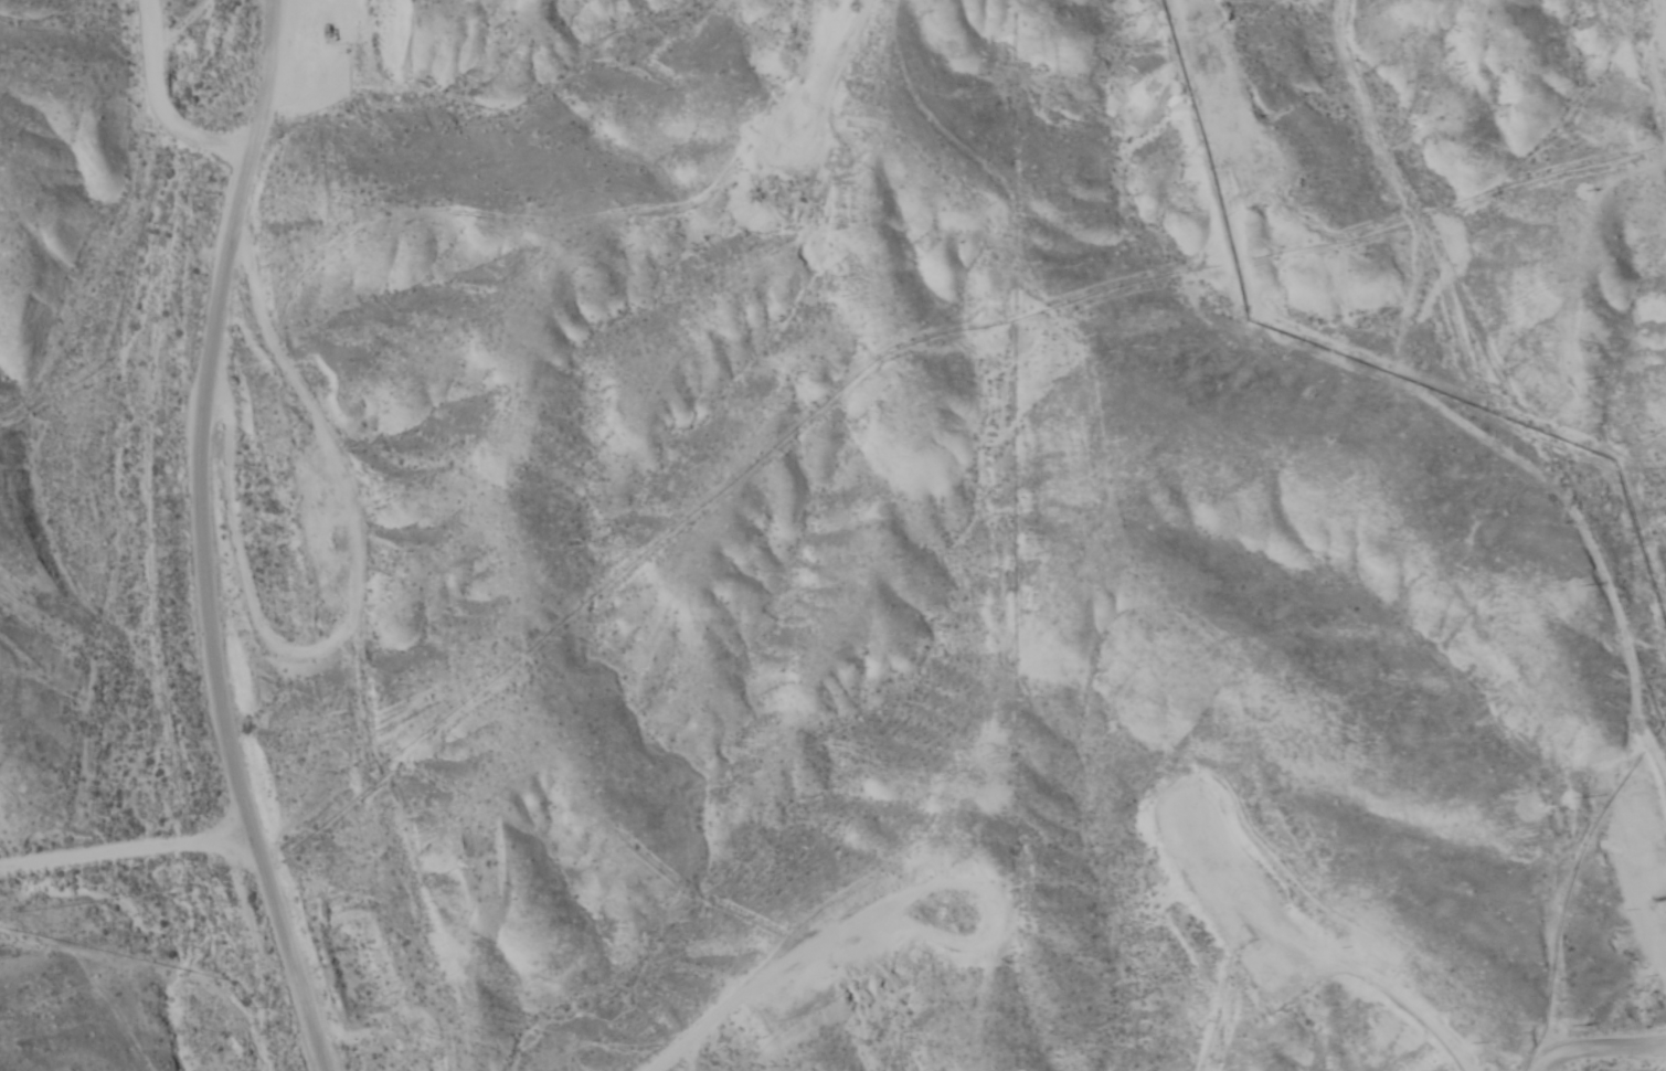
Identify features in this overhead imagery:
road: (1196, 17)
road: (921, 23)
petroleum well: (331, 29)
road: (1331, 81)
road: (1635, 85)
road: (151, 104)
road: (776, 115)
road: (201, 539)
road: (990, 787)
road: (127, 851)
petroleum well: (1662, 895)
road: (1620, 1033)

